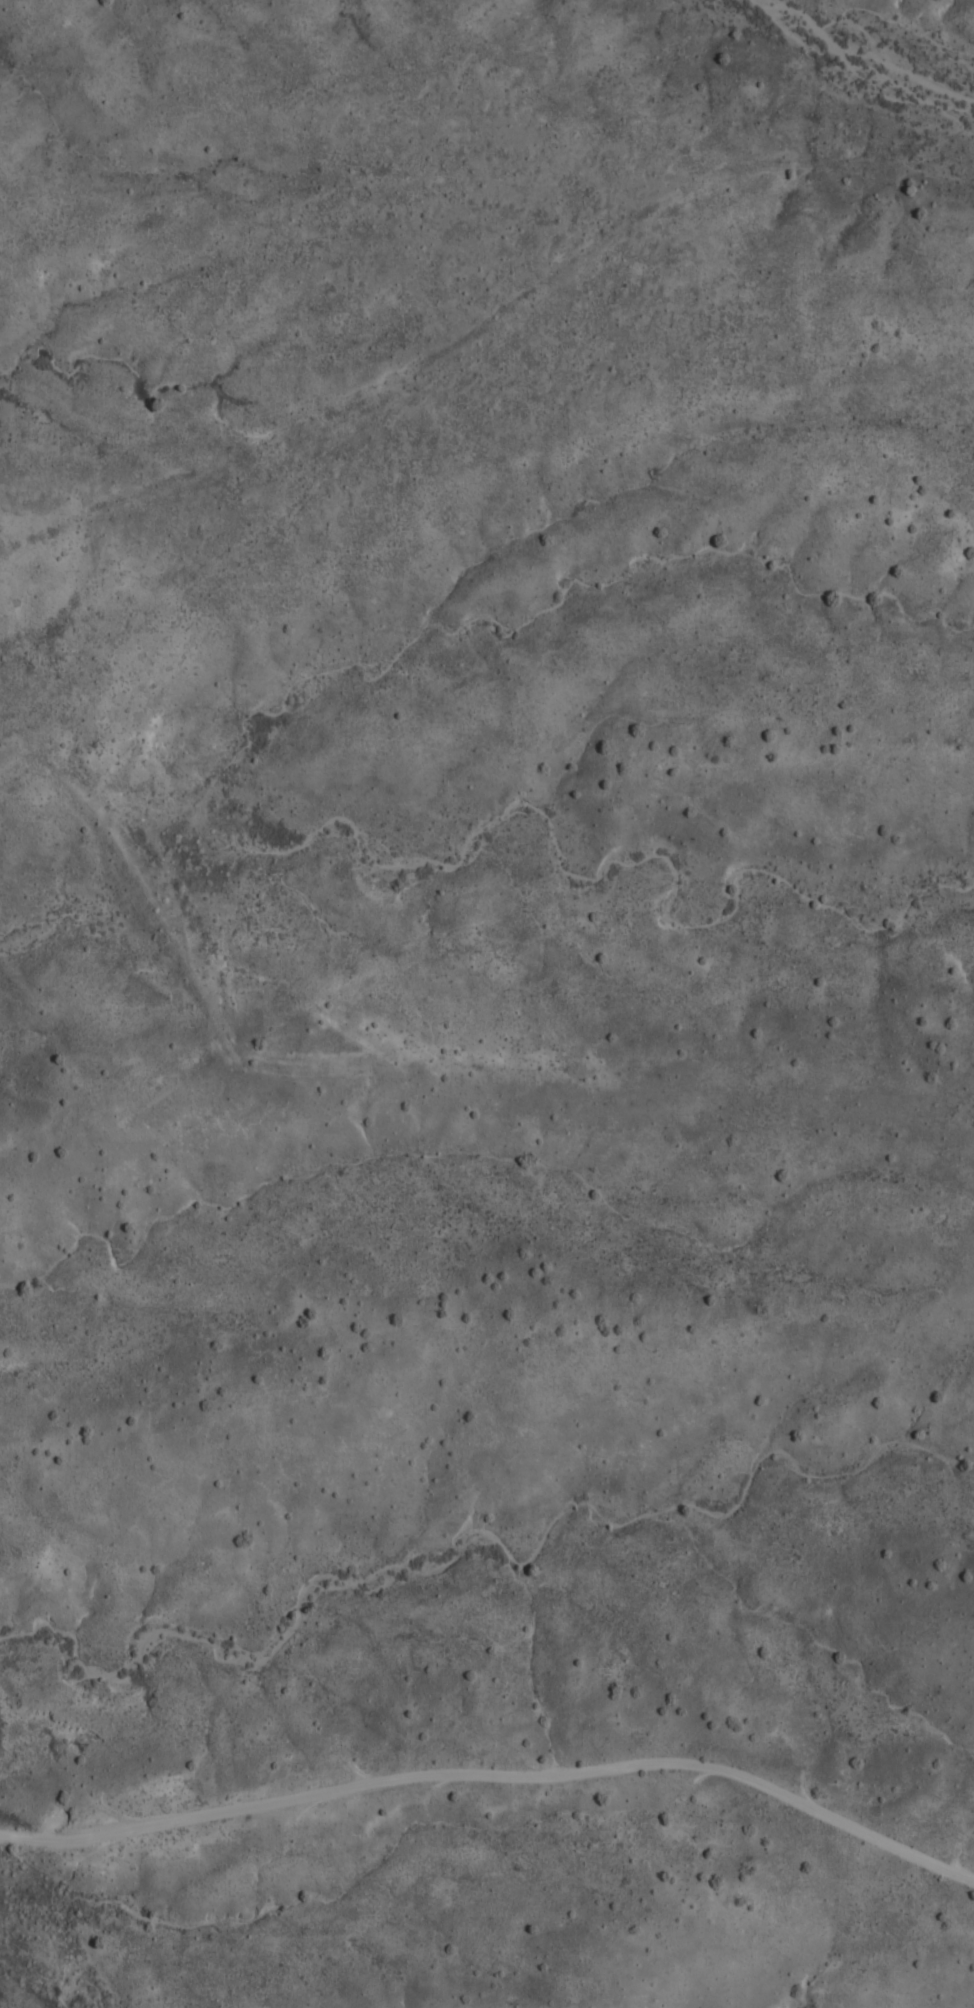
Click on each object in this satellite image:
road: (497, 1786)

